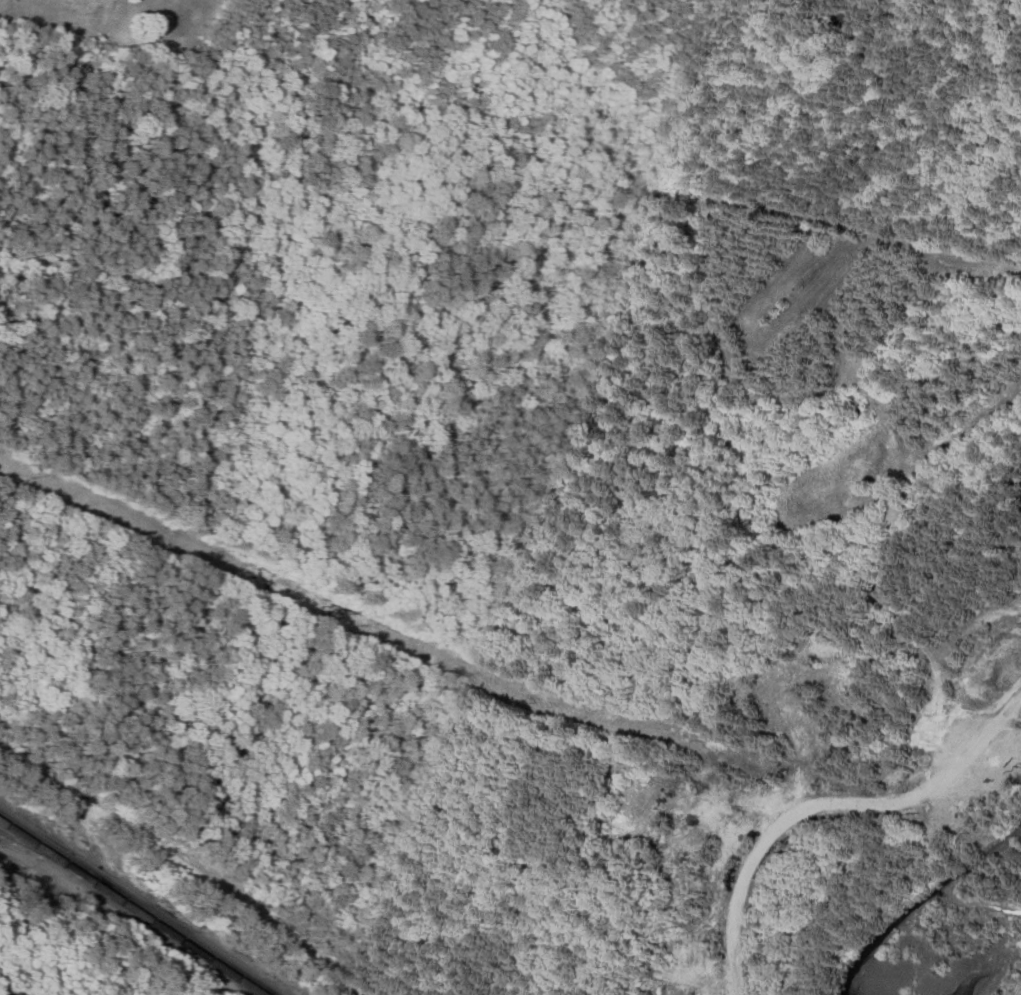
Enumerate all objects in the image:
railway: (29, 845)
railway: (139, 902)
railway: (130, 907)
railway: (216, 960)

